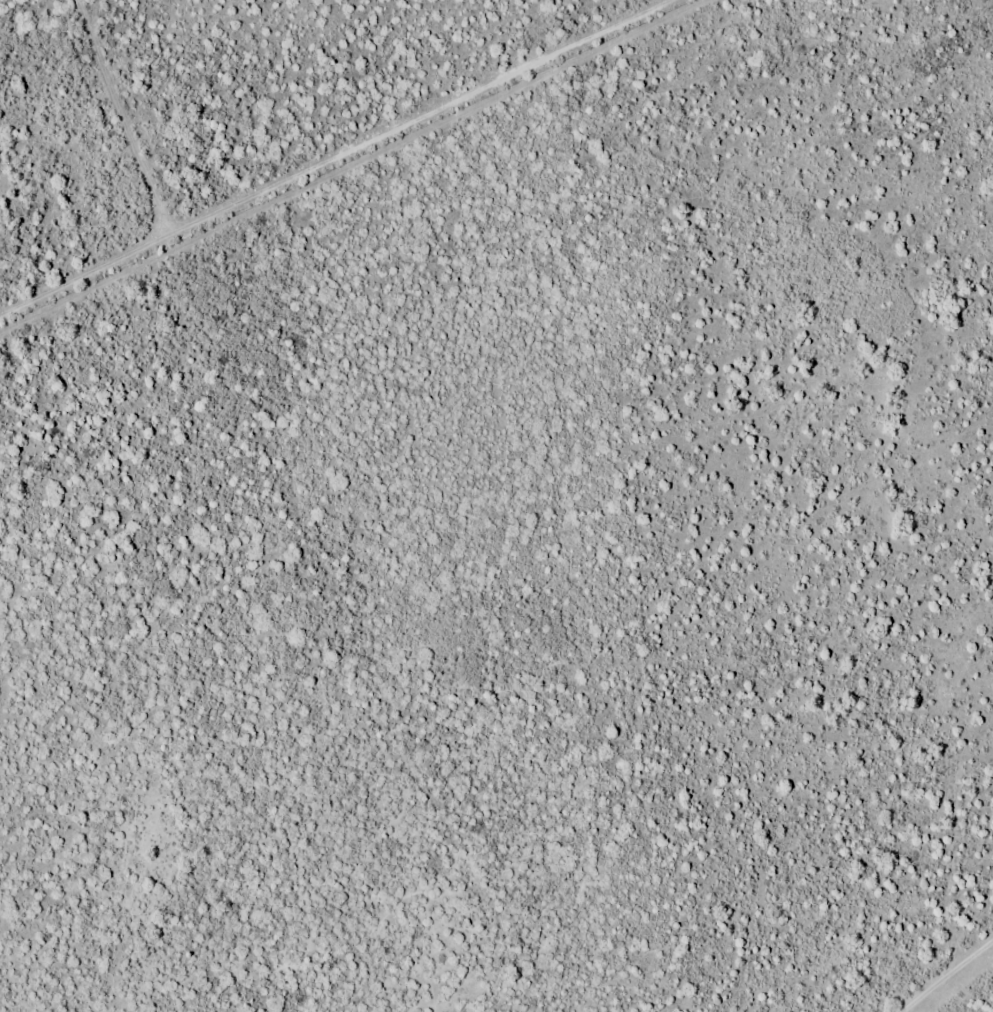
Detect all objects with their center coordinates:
road: (372, 162)

